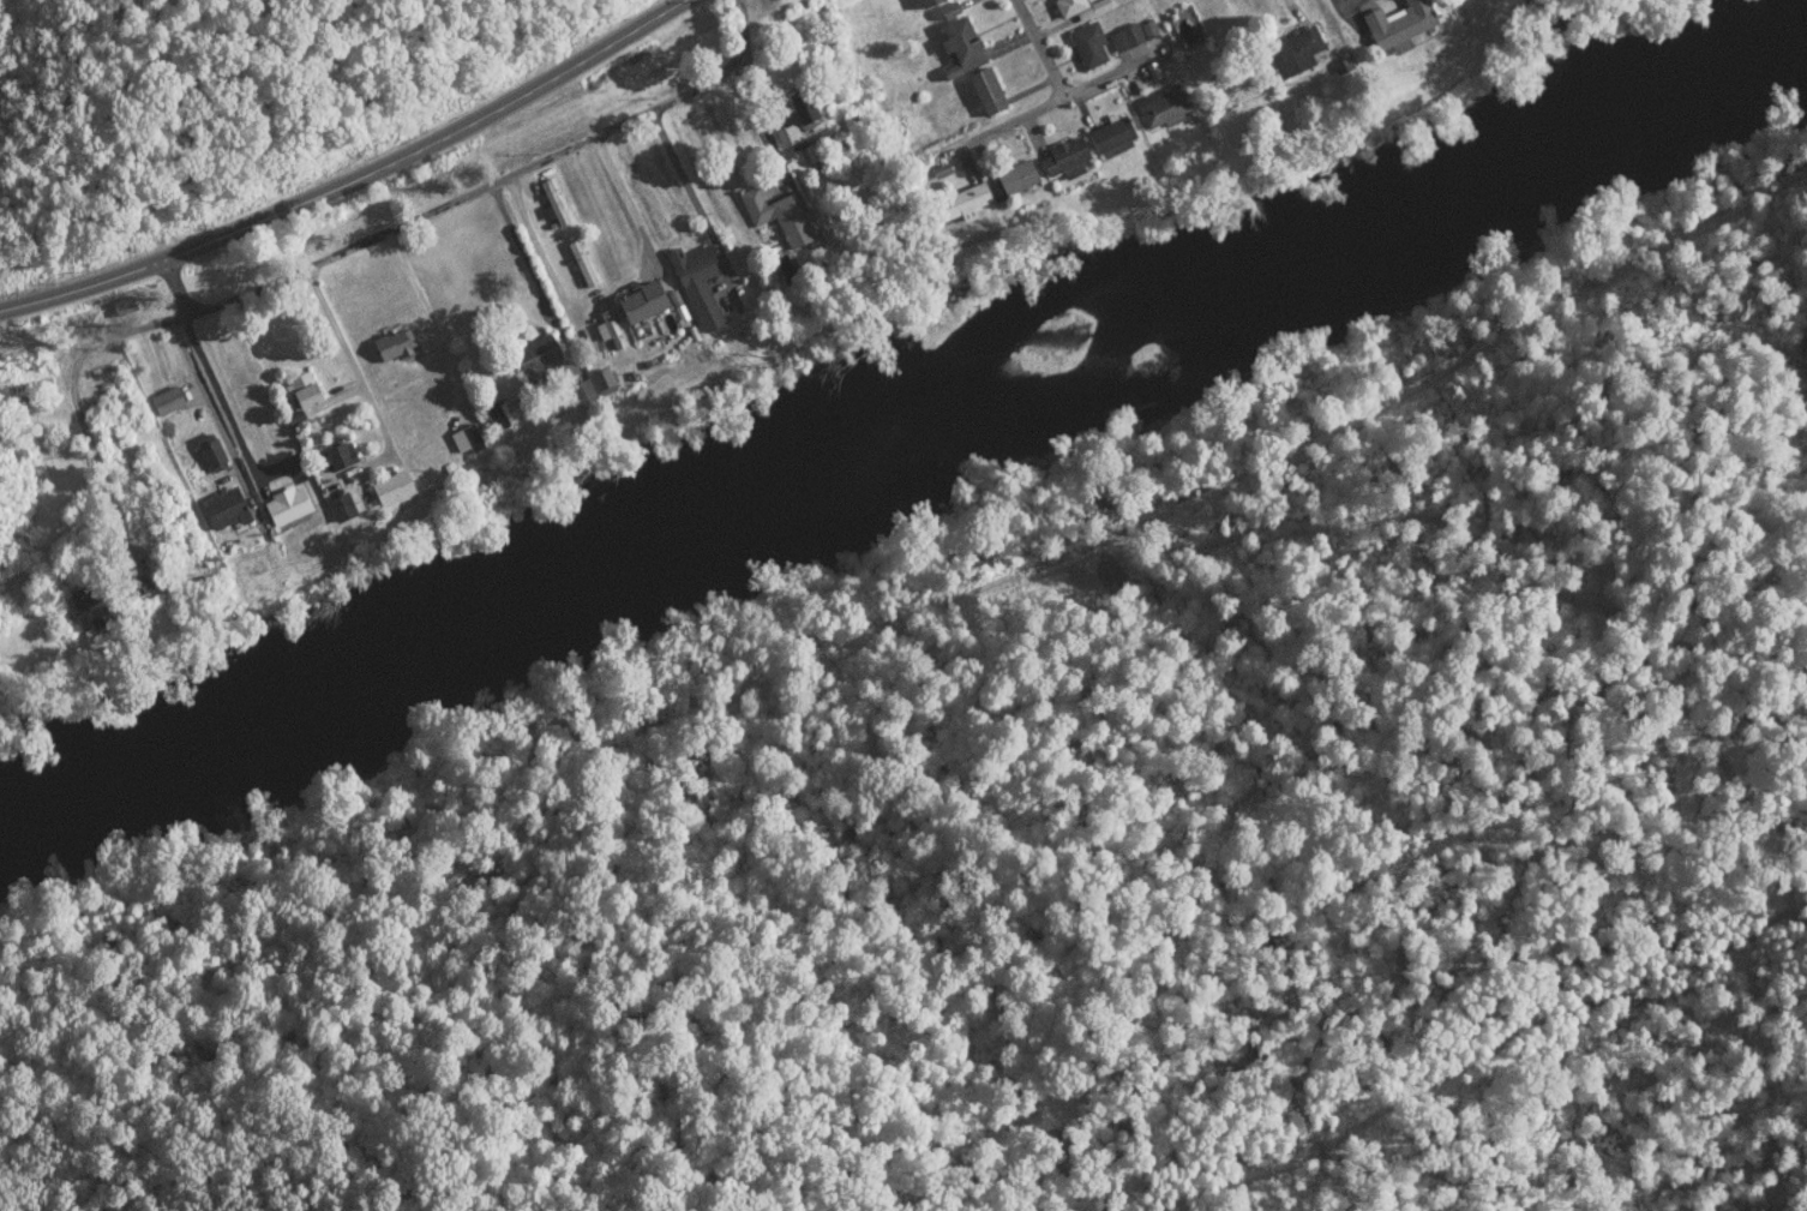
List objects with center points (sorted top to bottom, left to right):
building: (925, 2)
building: (1068, 6)
road: (619, 22)
road: (1361, 22)
building: (1397, 24)
building: (1147, 29)
building: (1124, 37)
building: (1087, 44)
building: (959, 47)
building: (1292, 52)
river: (1567, 54)
road: (1013, 60)
building: (985, 91)
road: (1074, 103)
building: (1160, 106)
building: (802, 107)
building: (785, 134)
building: (1110, 137)
road: (974, 149)
building: (1063, 158)
building: (1009, 180)
road: (366, 186)
building: (960, 202)
building: (780, 217)
road: (382, 268)
building: (697, 282)
road: (530, 284)
building: (640, 301)
building: (608, 329)
building: (392, 344)
building: (534, 358)
building: (602, 380)
building: (581, 391)
building: (166, 400)
road: (221, 408)
building: (493, 414)
river: (906, 415)
road: (82, 427)
building: (464, 438)
building: (209, 450)
building: (338, 455)
building: (391, 487)
building: (286, 505)
building: (340, 506)
building: (223, 508)
road: (16, 534)
building: (138, 583)
building: (88, 607)
railway: (921, 627)

